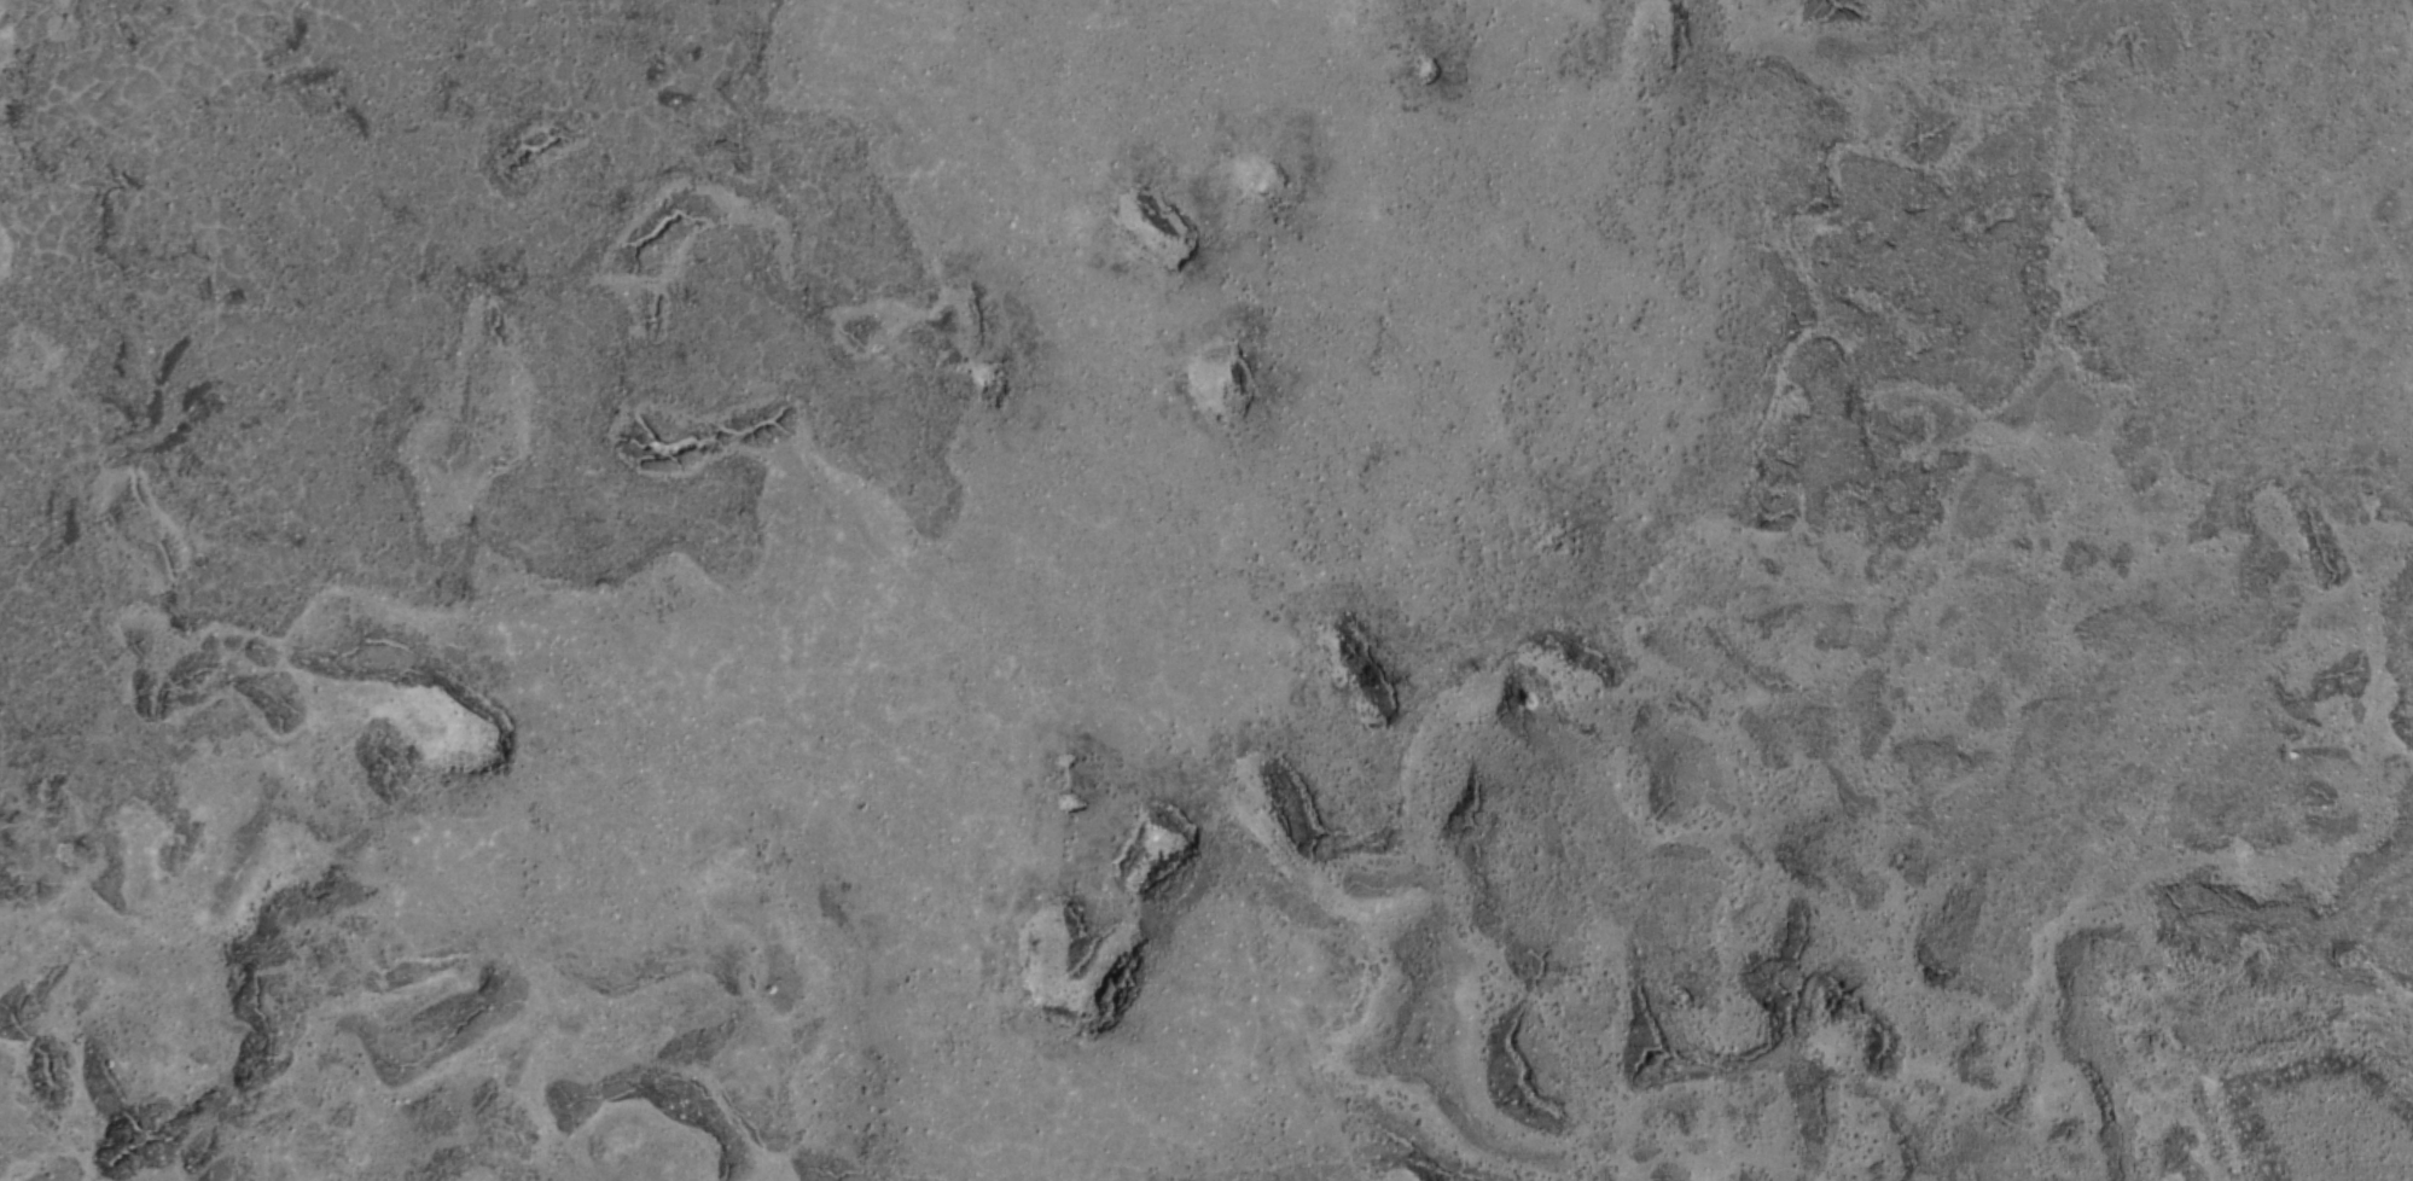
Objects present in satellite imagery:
road: (2275, 1180)

